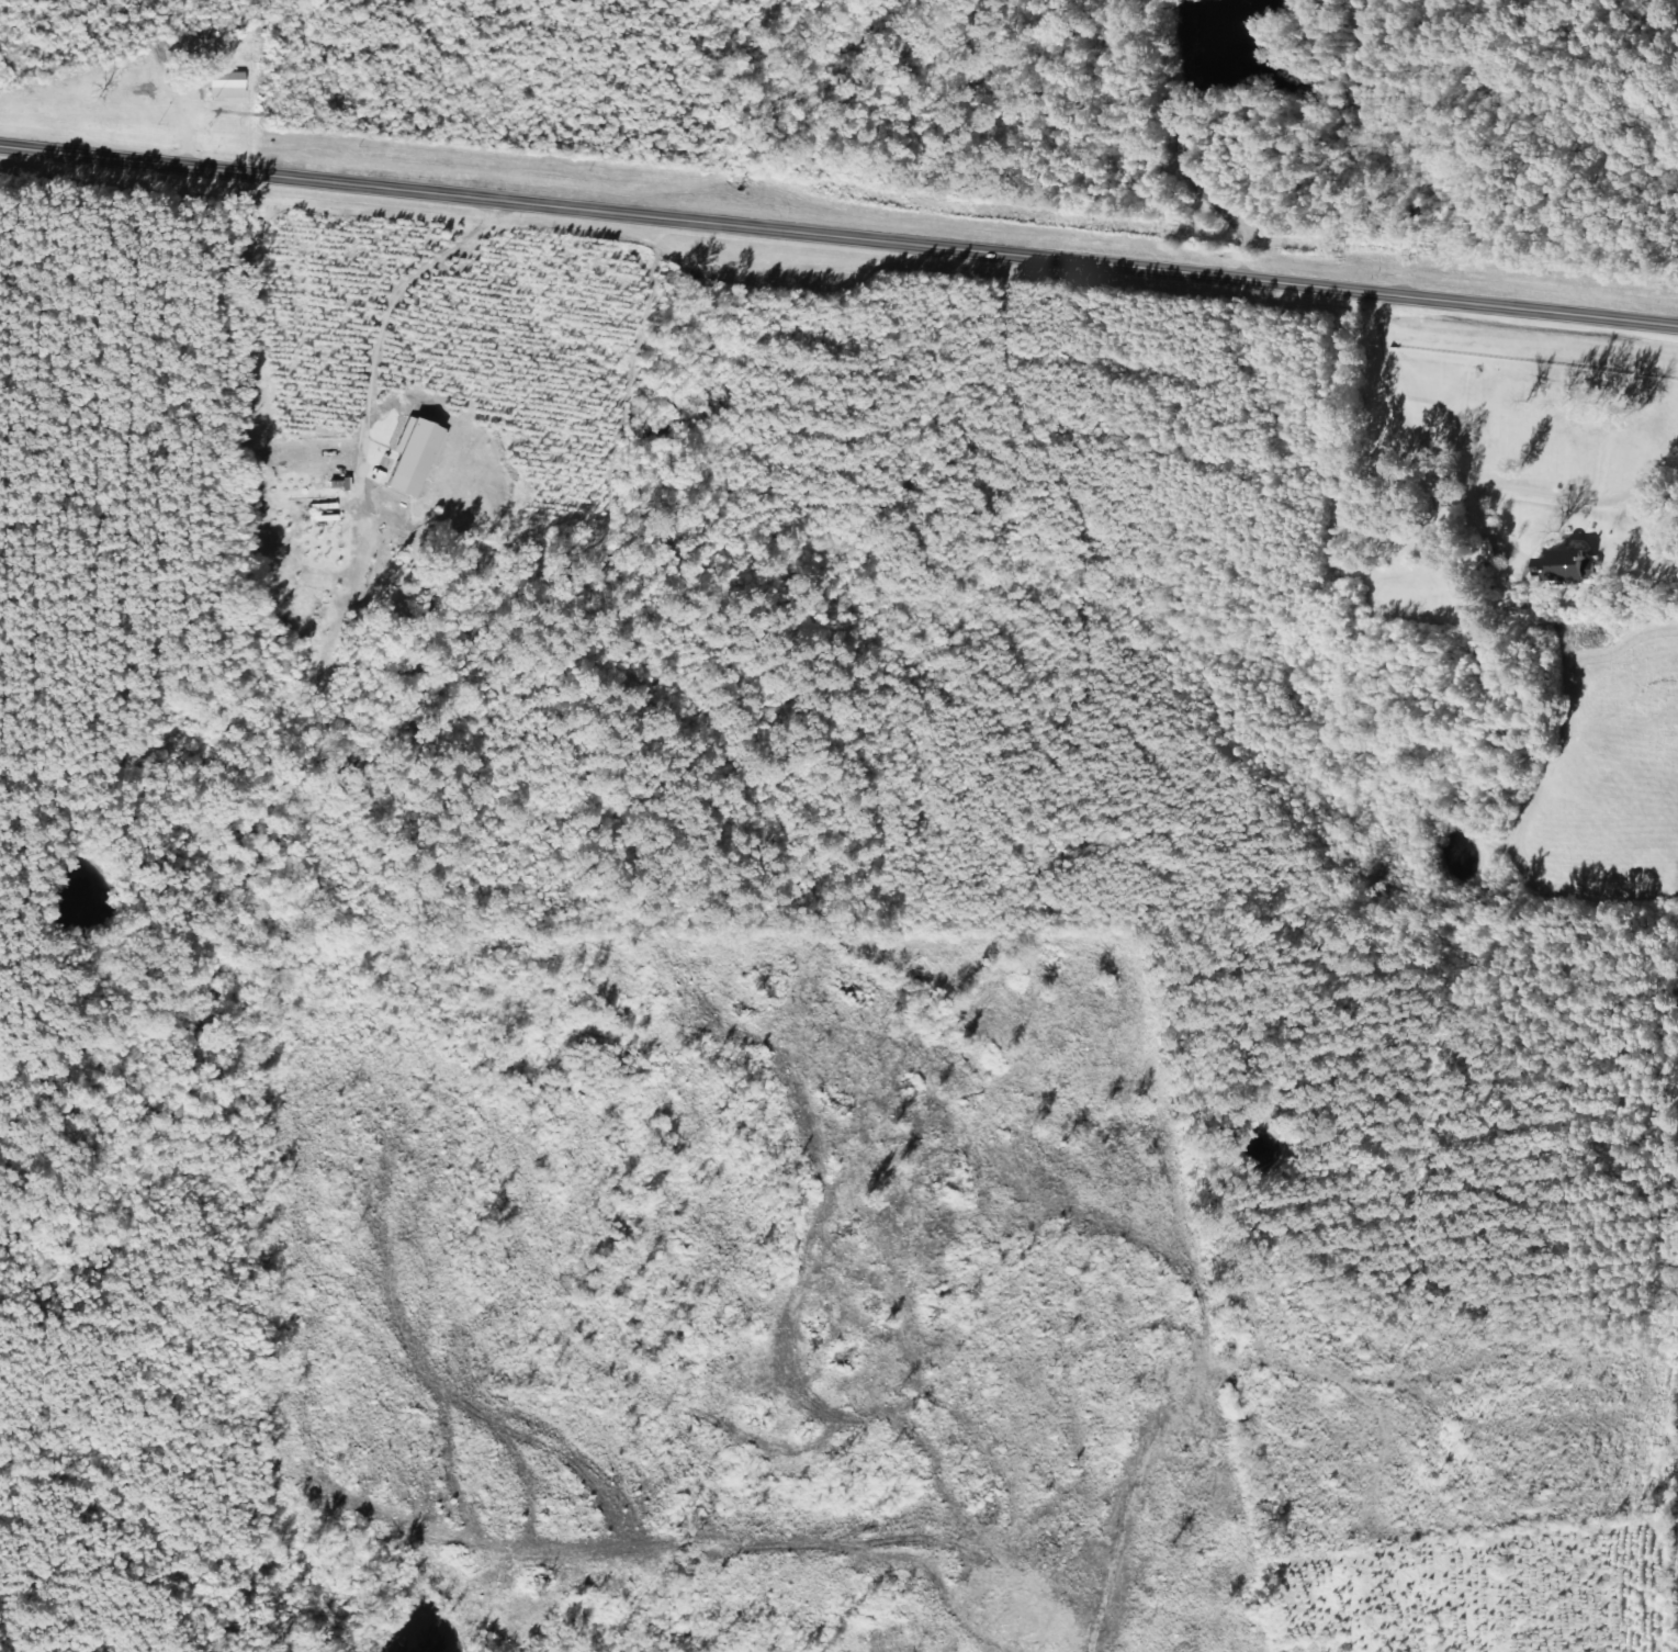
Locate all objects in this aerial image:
road: (1669, 5)
road: (1203, 147)
road: (838, 237)
building: (418, 459)
road: (1354, 469)
building: (1576, 569)
road: (1316, 1593)

